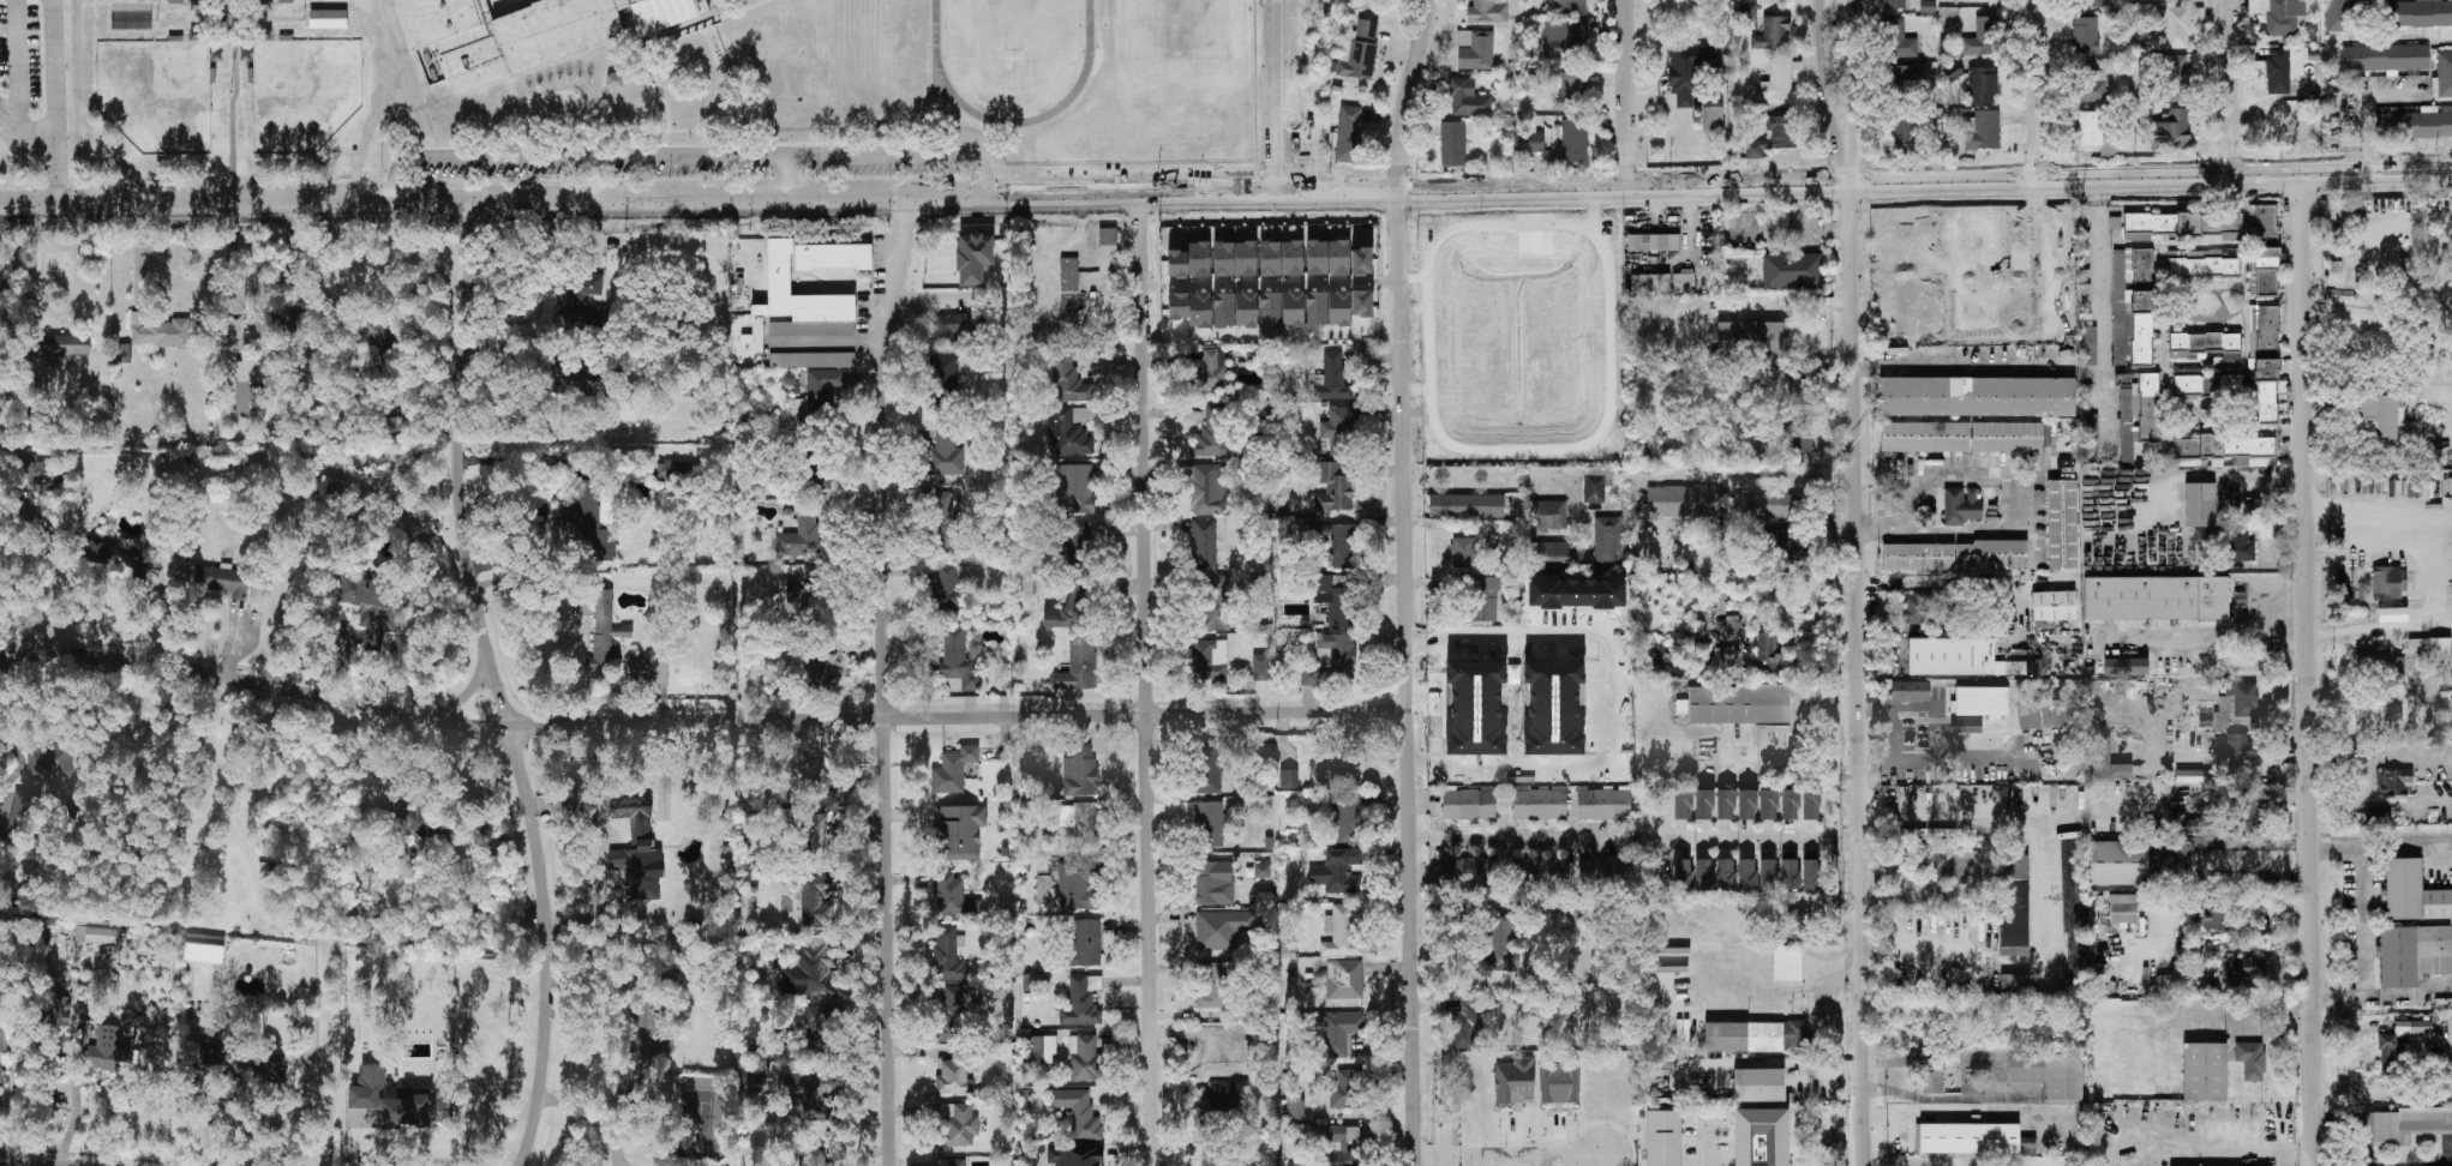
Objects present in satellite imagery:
building: (283, 1)
road: (762, 1)
building: (170, 2)
building: (2092, 2)
building: (1893, 4)
building: (203, 5)
building: (1566, 5)
building: (252, 6)
building: (1486, 11)
building: (1747, 12)
building: (2420, 13)
building: (2280, 16)
building: (2338, 16)
building: (324, 19)
road: (705, 24)
park: (1011, 28)
park: (1173, 28)
building: (2177, 28)
building: (527, 31)
building: (1773, 34)
building: (2086, 35)
building: (173, 36)
building: (282, 37)
building: (206, 38)
building: (1980, 38)
building: (248, 40)
building: (1565, 40)
building: (1898, 40)
building: (1475, 50)
building: (1357, 52)
building: (2385, 58)
road: (16, 66)
track: (937, 68)
building: (1689, 70)
building: (2278, 72)
road: (1853, 73)
building: (211, 74)
road: (1824, 74)
building: (2445, 74)
building: (246, 76)
building: (1902, 78)
building: (2180, 78)
building: (1777, 79)
building: (612, 80)
road: (733, 85)
building: (1983, 85)
building: (2092, 85)
road: (2228, 86)
road: (2042, 89)
park: (301, 92)
building: (1571, 92)
park: (155, 94)
road: (1629, 94)
road: (575, 95)
road: (1407, 95)
road: (1276, 96)
road: (52, 98)
building: (1469, 100)
road: (595, 101)
road: (2369, 107)
building: (1713, 113)
road: (664, 116)
building: (2416, 124)
building: (2091, 130)
road: (702, 131)
building: (2171, 131)
building: (1984, 132)
building: (1348, 136)
building: (1774, 137)
building: (1907, 137)
building: (1575, 140)
road: (892, 143)
building: (1530, 143)
road: (658, 144)
building: (1453, 144)
road: (691, 157)
road: (1848, 164)
road: (53, 173)
road: (791, 178)
road: (590, 179)
road: (1225, 194)
building: (2115, 223)
building: (2160, 224)
building: (2220, 224)
building: (2262, 227)
road: (4, 228)
building: (1653, 242)
building: (1108, 250)
road: (138, 253)
building: (833, 257)
building: (973, 258)
building: (1269, 258)
building: (1314, 258)
building: (1338, 258)
building: (1198, 259)
building: (1222, 259)
building: (1245, 259)
building: (1291, 259)
building: (1361, 262)
building: (1176, 264)
building: (2206, 264)
building: (1792, 271)
building: (1099, 281)
road: (1270, 282)
building: (1684, 282)
building: (1650, 283)
road: (548, 289)
building: (1069, 289)
building: (580, 300)
building: (802, 301)
road: (1792, 301)
building: (1362, 303)
building: (1177, 305)
building: (1293, 308)
building: (1317, 308)
building: (1339, 308)
building: (1199, 309)
building: (1223, 309)
building: (1246, 309)
building: (1270, 309)
road: (2102, 313)
building: (276, 324)
building: (952, 327)
building: (160, 333)
building: (378, 335)
building: (1755, 338)
building: (2205, 342)
building: (64, 344)
building: (2091, 345)
building: (2450, 350)
building: (2264, 354)
building: (811, 360)
road: (1960, 365)
building: (1211, 369)
building: (942, 378)
building: (1332, 379)
building: (1067, 380)
building: (2207, 385)
building: (823, 387)
building: (250, 389)
building: (1977, 397)
building: (2138, 413)
building: (2376, 416)
building: (396, 421)
building: (1338, 431)
road: (1599, 431)
building: (1068, 432)
building: (1213, 433)
building: (1781, 433)
building: (2091, 433)
building: (1962, 437)
building: (2228, 450)
building: (946, 455)
road: (510, 459)
building: (675, 470)
road: (1500, 477)
road: (1750, 479)
building: (822, 482)
building: (1077, 489)
building: (1209, 489)
building: (1333, 489)
building: (1594, 489)
building: (1681, 501)
road: (1914, 503)
building: (1759, 505)
building: (2200, 505)
building: (1465, 506)
building: (1961, 506)
road: (2018, 507)
road: (2379, 513)
building: (1548, 515)
building: (588, 518)
building: (943, 521)
building: (2062, 525)
building: (801, 535)
building: (2204, 536)
building: (1075, 541)
building: (1608, 543)
building: (1204, 545)
building: (1342, 546)
building: (2241, 546)
building: (1463, 552)
building: (1558, 555)
building: (1954, 557)
building: (810, 578)
building: (230, 583)
building: (2388, 583)
building: (947, 585)
building: (1546, 590)
building: (1605, 591)
building: (1335, 599)
building: (1485, 599)
building: (2156, 599)
building: (1218, 603)
building: (2054, 606)
building: (376, 611)
building: (1069, 611)
building: (1731, 627)
road: (2426, 627)
road: (2441, 627)
building: (606, 630)
road: (1485, 635)
road: (2205, 645)
building: (2429, 648)
building: (1767, 650)
building: (1728, 656)
building: (1960, 659)
building: (1209, 660)
building: (1332, 660)
building: (958, 661)
building: (2380, 661)
building: (1473, 666)
building: (1558, 666)
building: (1260, 667)
building: (2126, 667)
building: (817, 668)
building: (1079, 668)
road: (2313, 669)
building: (640, 671)
road: (1856, 674)
road: (1409, 679)
road: (885, 680)
road: (1146, 681)
road: (497, 683)
building: (1459, 693)
building: (1537, 693)
building: (1901, 693)
road: (463, 695)
building: (1979, 702)
building: (2236, 704)
building: (1737, 705)
road: (1924, 708)
building: (2393, 709)
building: (2043, 714)
road: (701, 722)
road: (1499, 735)
road: (1895, 735)
building: (2237, 747)
road: (2382, 759)
road: (1960, 761)
building: (2103, 761)
building: (1342, 763)
building: (49, 764)
building: (1212, 765)
building: (953, 770)
building: (1537, 771)
building: (1080, 773)
building: (813, 774)
building: (2193, 776)
building: (1288, 779)
building: (2393, 781)
building: (1469, 805)
building: (1540, 805)
building: (1603, 805)
building: (1683, 805)
building: (1703, 805)
building: (1726, 805)
building: (1747, 805)
building: (1768, 805)
building: (1789, 805)
building: (1811, 805)
road: (2382, 805)
building: (23, 810)
building: (2246, 811)
building: (2378, 816)
building: (1348, 819)
building: (1211, 823)
building: (1080, 827)
building: (421, 829)
building: (960, 831)
road: (1751, 839)
building: (1623, 840)
road: (1845, 840)
road: (1494, 841)
road: (2237, 845)
building: (637, 851)
road: (2405, 852)
road: (600, 855)
building: (1943, 860)
building: (2118, 863)
building: (1961, 867)
building: (1261, 871)
building: (1470, 871)
building: (1602, 871)
building: (1338, 872)
building: (1811, 873)
building: (1681, 874)
building: (1703, 874)
building: (1725, 874)
building: (1746, 874)
building: (1768, 874)
road: (2043, 878)
building: (1215, 883)
building: (1075, 885)
building: (2070, 885)
building: (953, 896)
building: (816, 901)
building: (2014, 904)
building: (2123, 908)
building: (2212, 918)
road: (2361, 925)
building: (2414, 927)
building: (1222, 928)
building: (1342, 932)
building: (96, 936)
building: (1085, 943)
building: (1501, 946)
building: (2212, 951)
building: (948, 955)
building: (1787, 963)
building: (2243, 970)
building: (813, 972)
building: (1344, 980)
building: (2164, 982)
building: (2014, 984)
building: (1215, 987)
road: (1780, 988)
road: (2410, 997)
building: (1083, 1003)
road: (2218, 1008)
building: (65, 1011)
building: (952, 1016)
building: (1464, 1026)
building: (819, 1028)
building: (2412, 1028)
building: (648, 1032)
building: (1341, 1034)
building: (1756, 1036)
building: (2, 1041)
building: (1039, 1050)
building: (108, 1051)
building: (2388, 1052)
building: (1212, 1053)
building: (1084, 1058)
building: (2252, 1060)
building: (2205, 1071)
building: (2049, 1074)
building: (2, 1075)
building: (1932, 1077)
building: (757, 1078)
building: (953, 1078)
building: (1513, 1081)
building: (1559, 1083)
building: (1758, 1086)
road: (74, 1087)
building: (367, 1088)
building: (1348, 1090)
building: (813, 1094)
building: (1222, 1096)
building: (412, 1107)
building: (1295, 1110)
building: (1079, 1114)
road: (594, 1116)
building: (957, 1125)
building: (2409, 1125)
building: (2362, 1129)
building: (1761, 1137)
building: (1663, 1138)
building: (1967, 1138)
building: (1341, 1146)
building: (2027, 1147)
building: (814, 1156)
road: (1509, 1158)
building: (952, 1162)
building: (1224, 1165)

